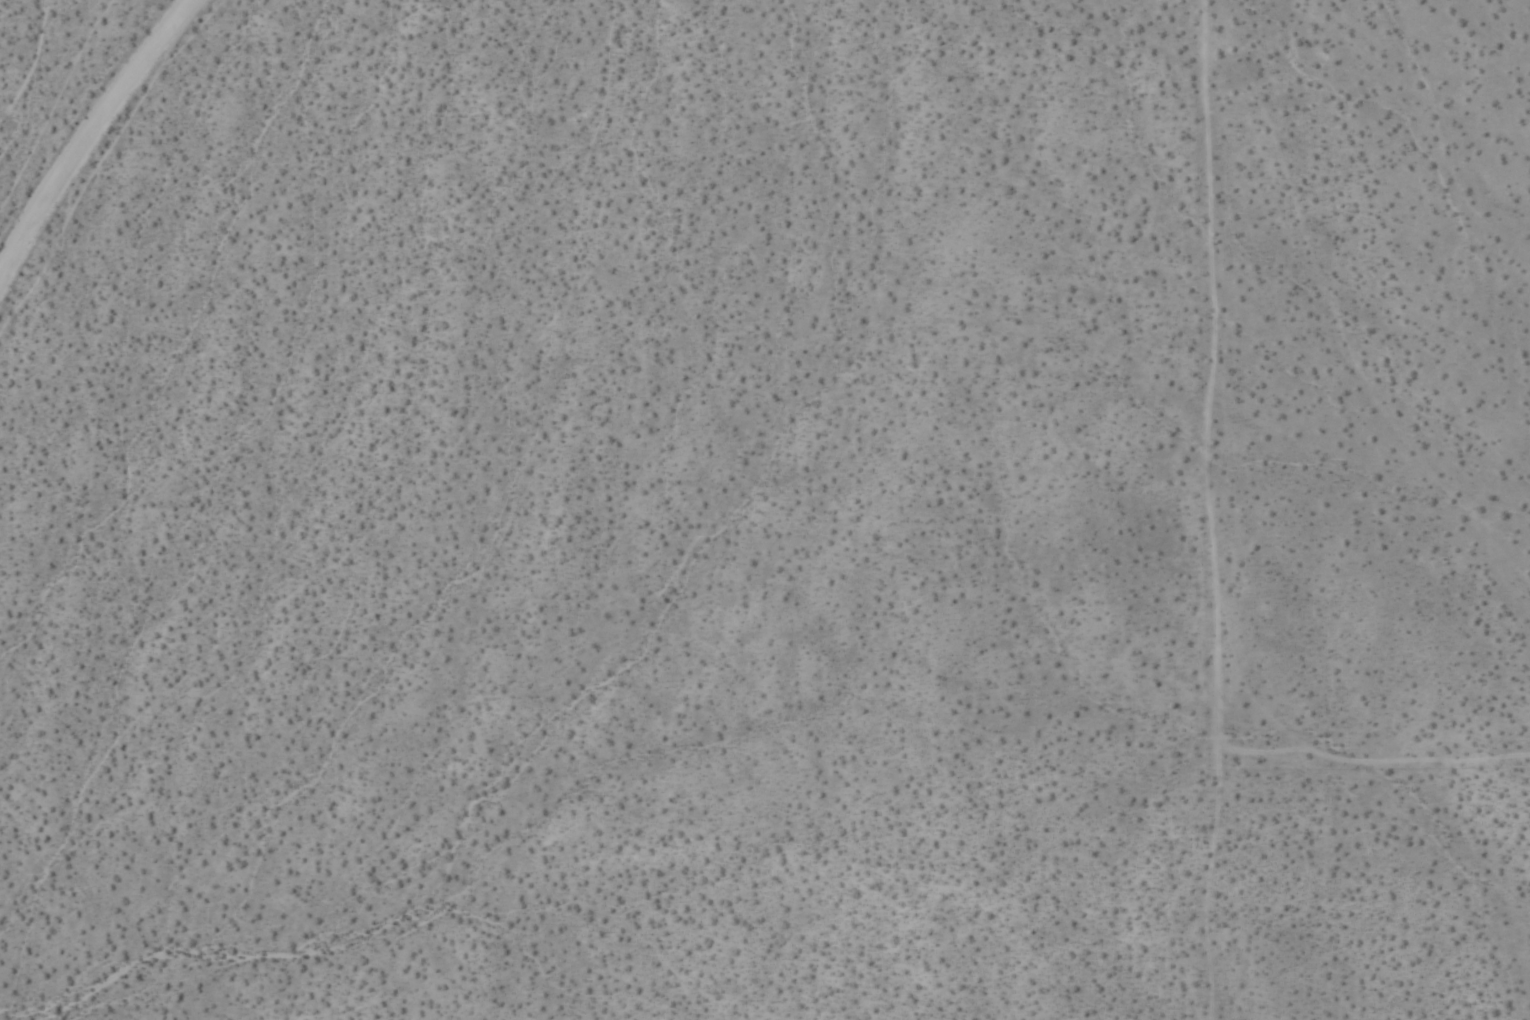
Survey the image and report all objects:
road: (88, 132)
crop: (765, 510)

